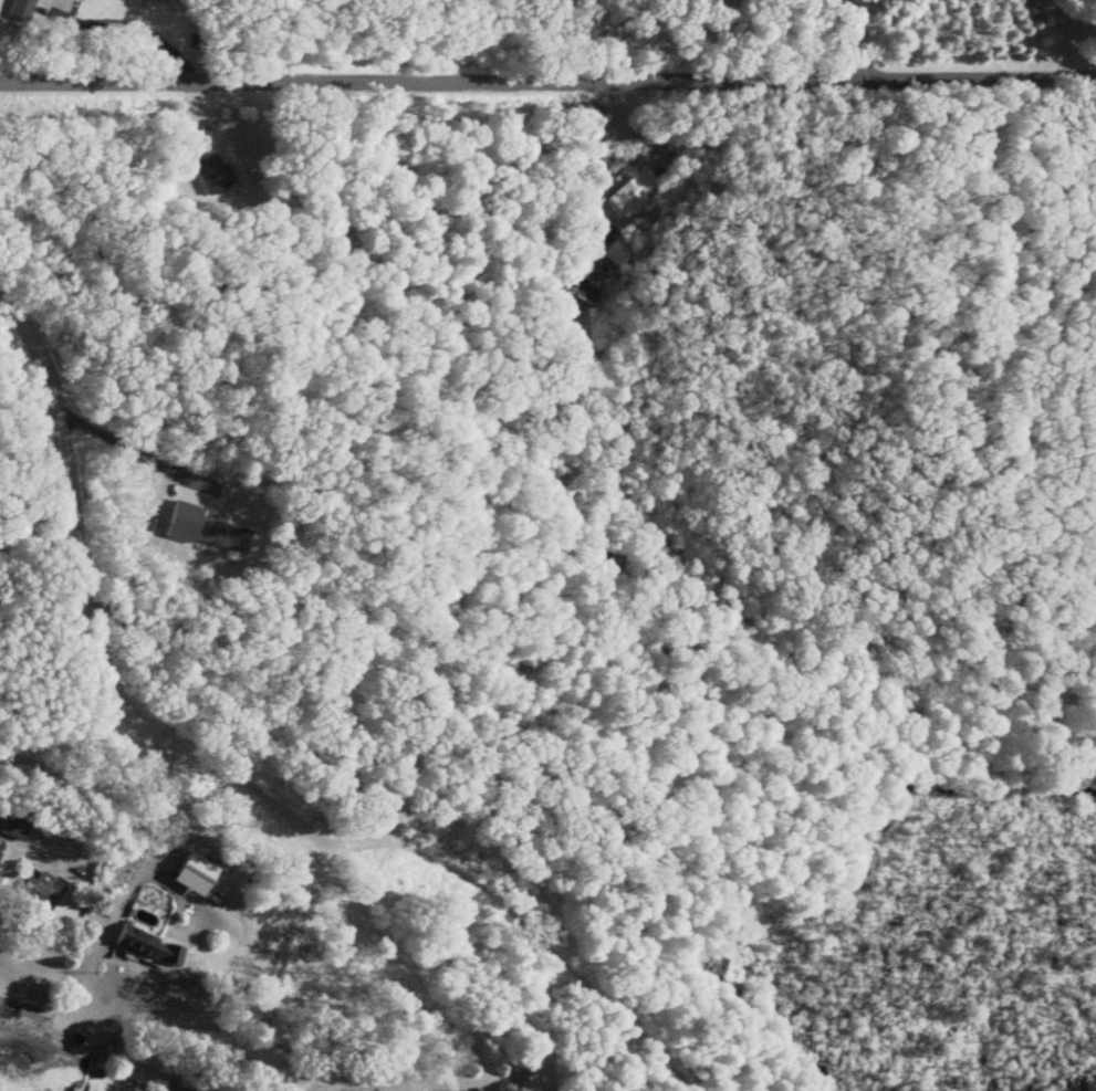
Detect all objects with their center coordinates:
road: (122, 20)
road: (1084, 29)
road: (860, 35)
road: (1069, 35)
road: (547, 73)
road: (580, 146)
road: (164, 453)
road: (38, 527)
road: (144, 681)
road: (94, 769)
building: (48, 885)
road: (453, 903)
road: (262, 923)
building: (148, 946)
road: (446, 1055)
building: (525, 1079)

